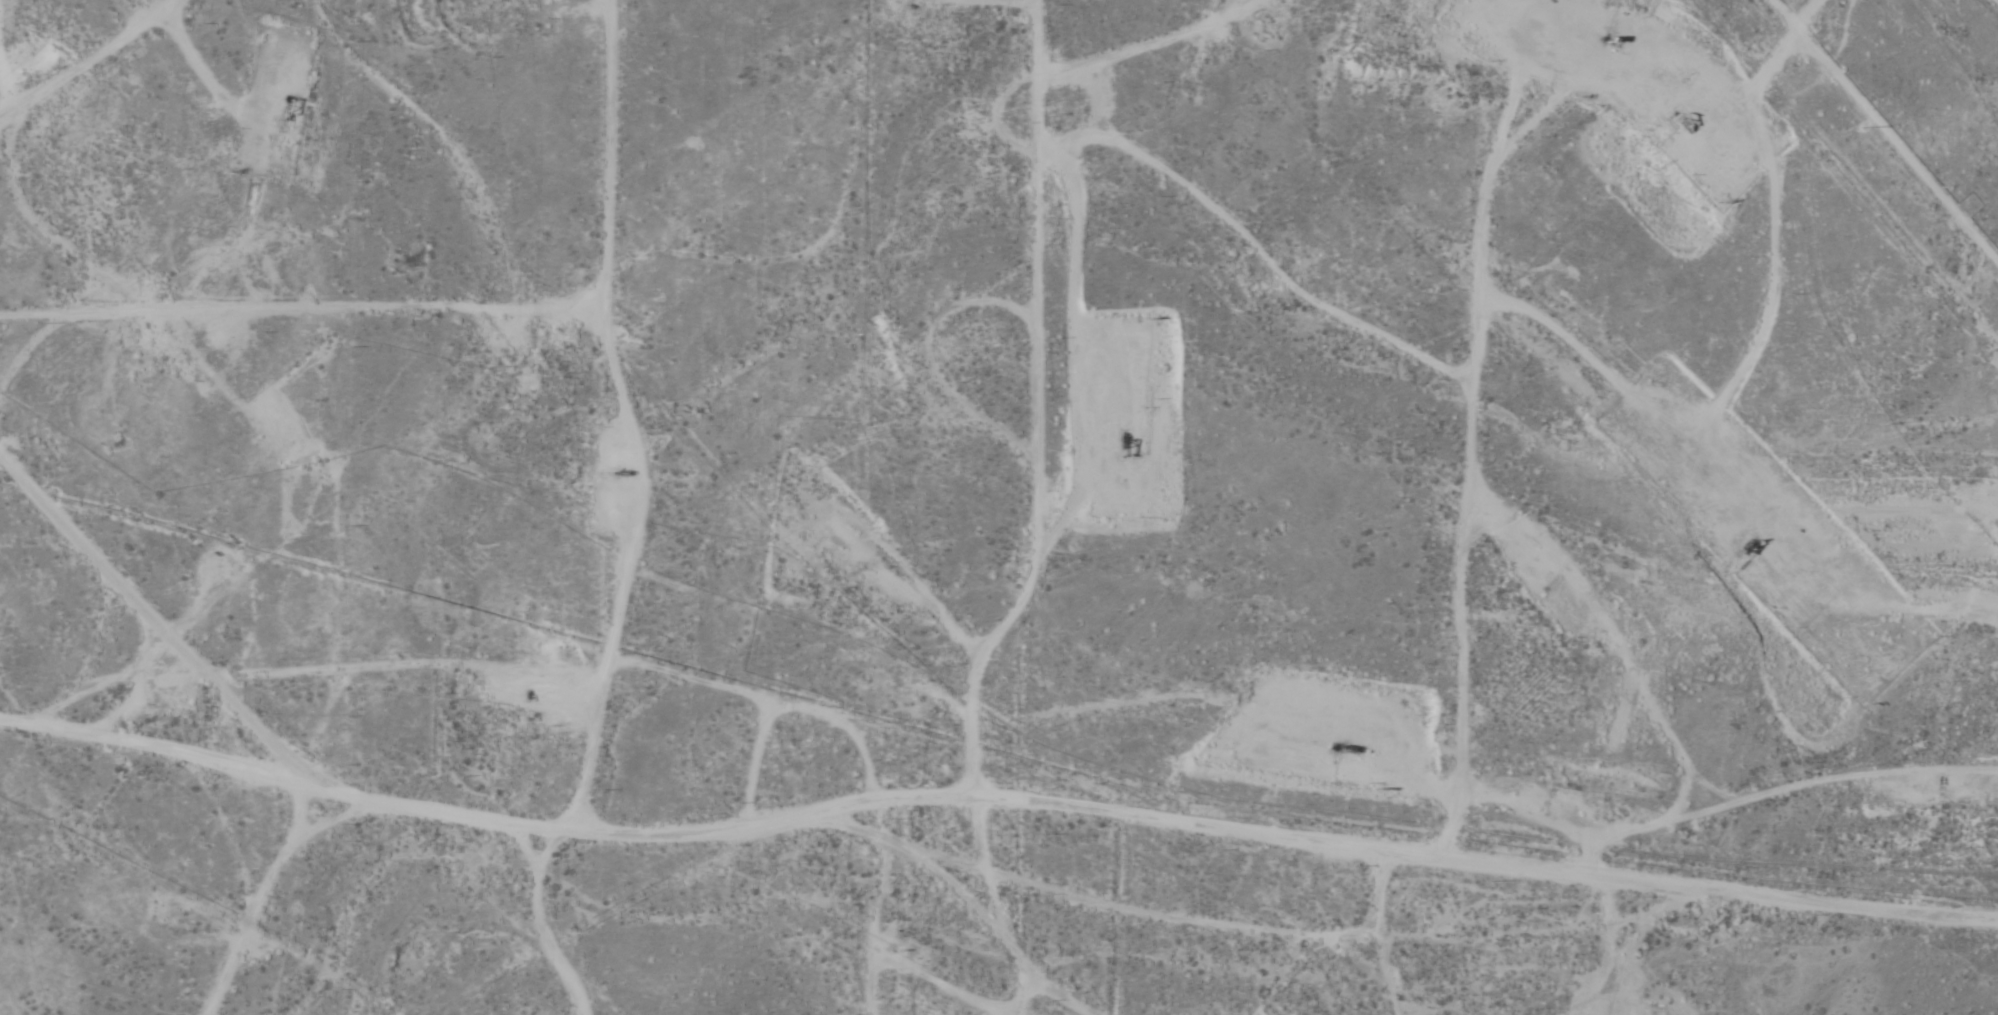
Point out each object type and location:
road: (141, 631)
road: (994, 793)
road: (957, 883)
road: (543, 923)

